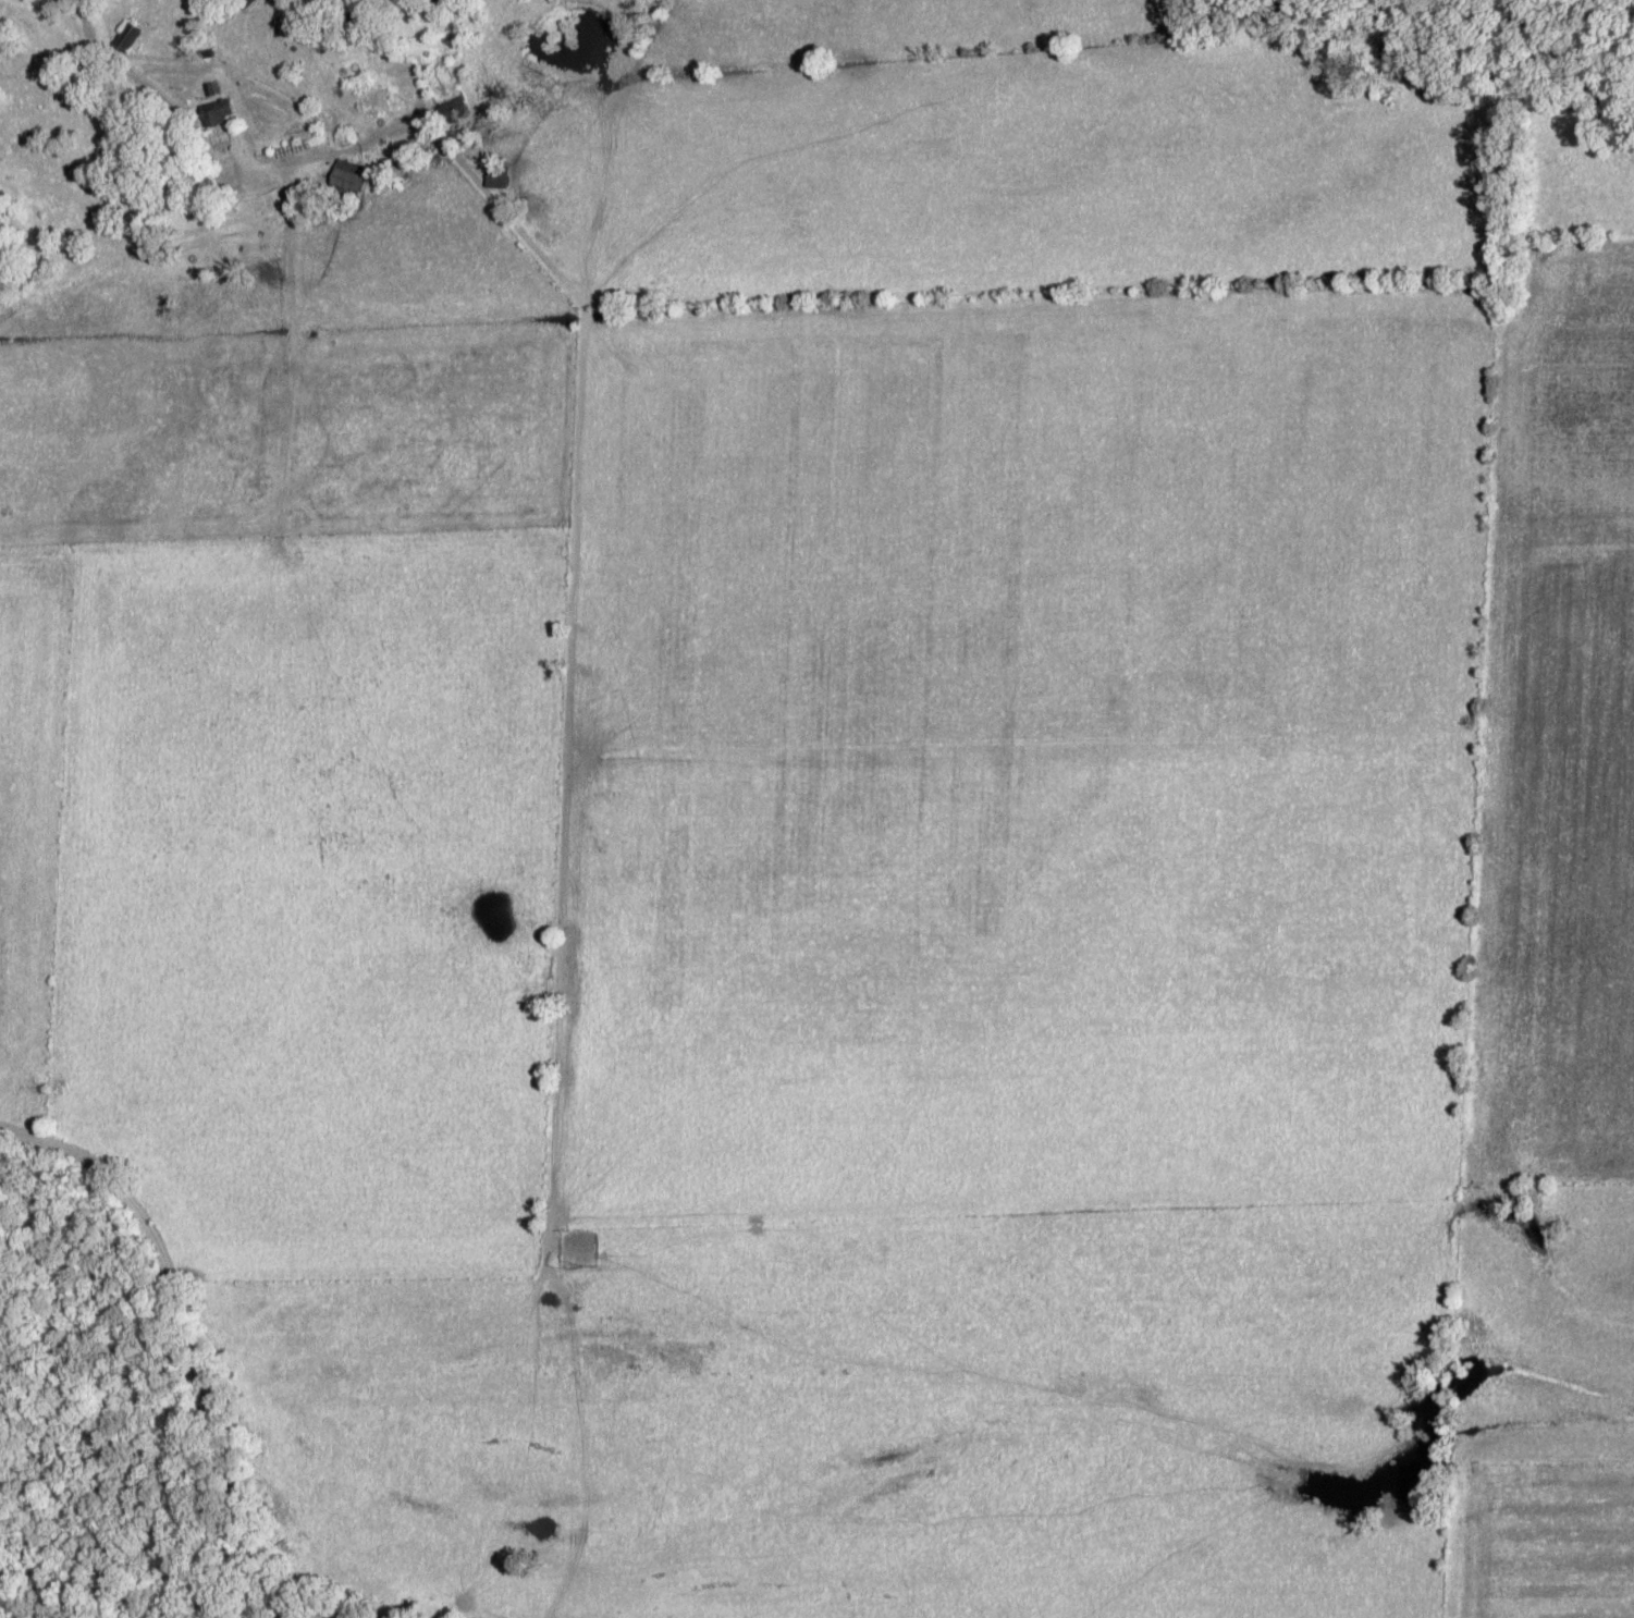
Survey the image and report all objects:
building: (239, 3)
building: (122, 39)
building: (212, 123)
building: (344, 175)
building: (494, 175)
road: (201, 1386)

